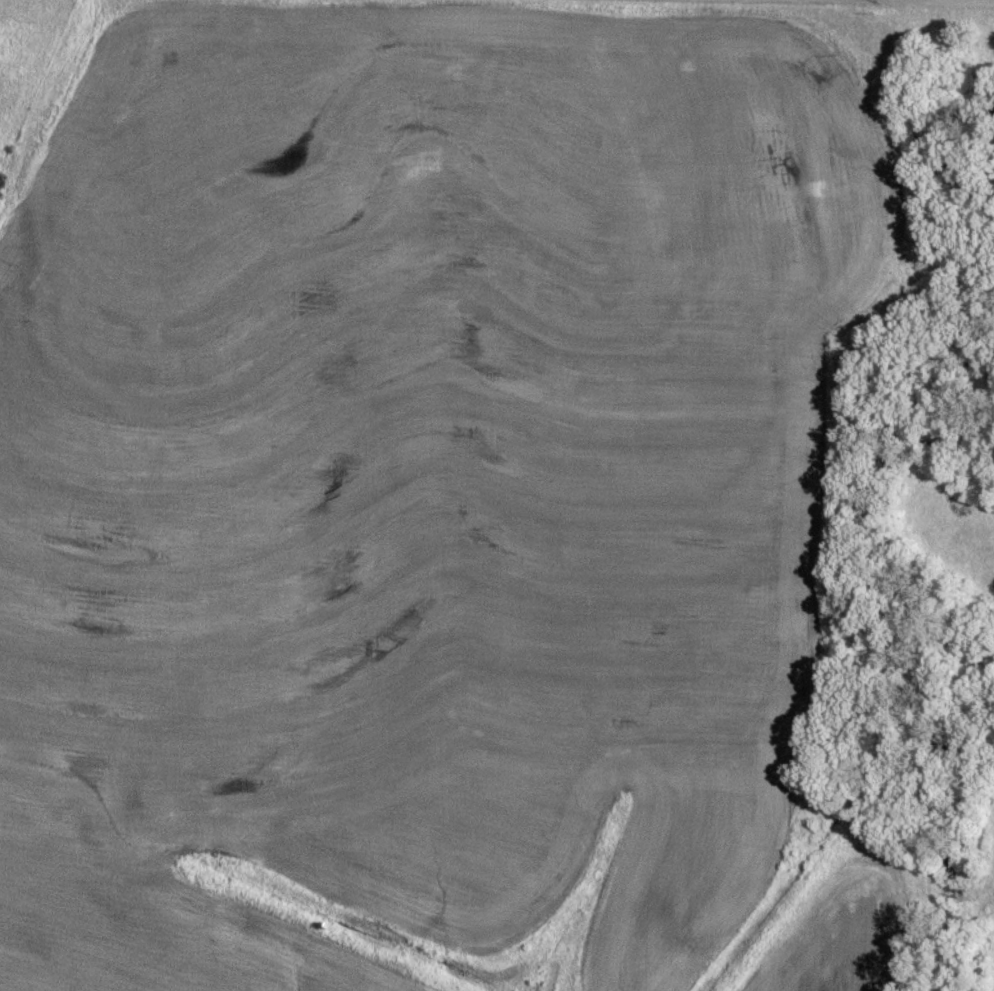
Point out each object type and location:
road: (925, 2)

